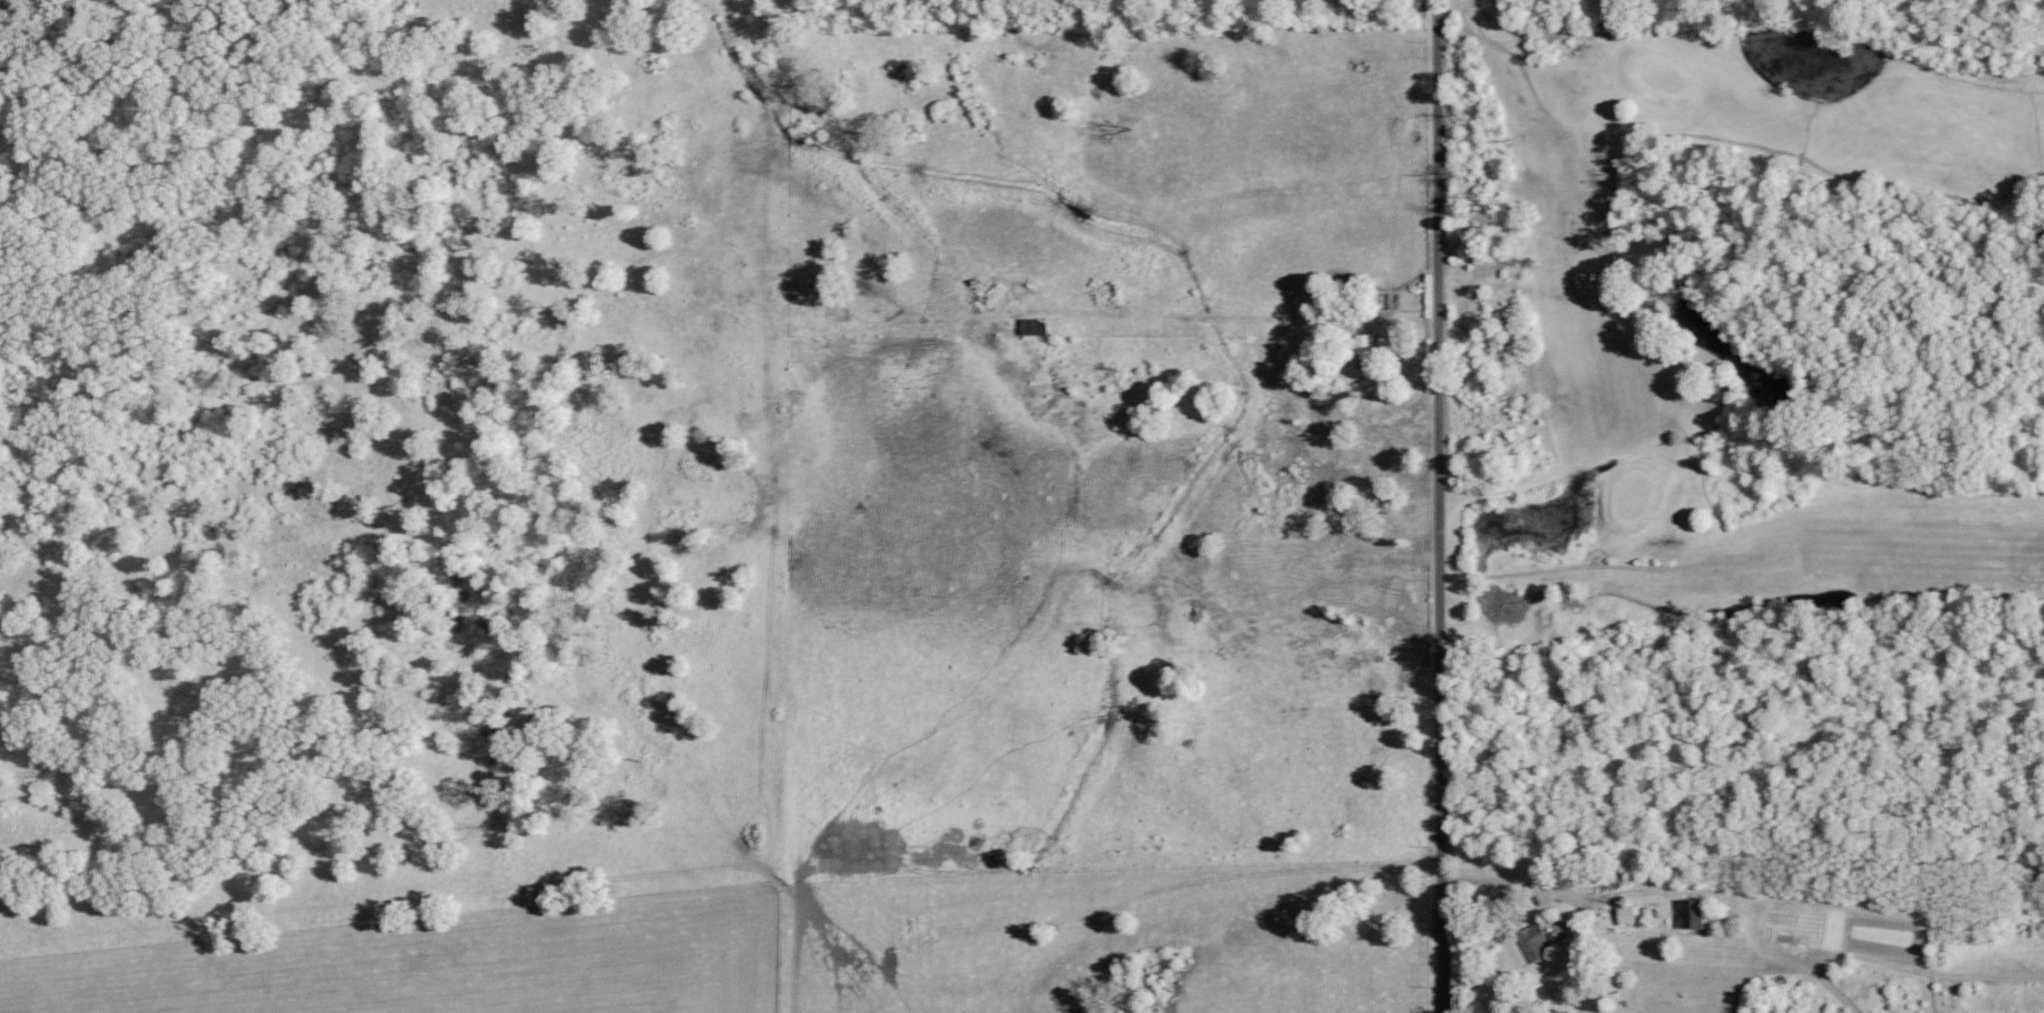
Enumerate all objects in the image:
building: (1036, 326)
building: (1369, 343)
park: (1741, 350)
road: (1437, 506)
road: (1529, 877)
building: (1628, 915)
building: (1699, 915)
building: (1539, 943)

